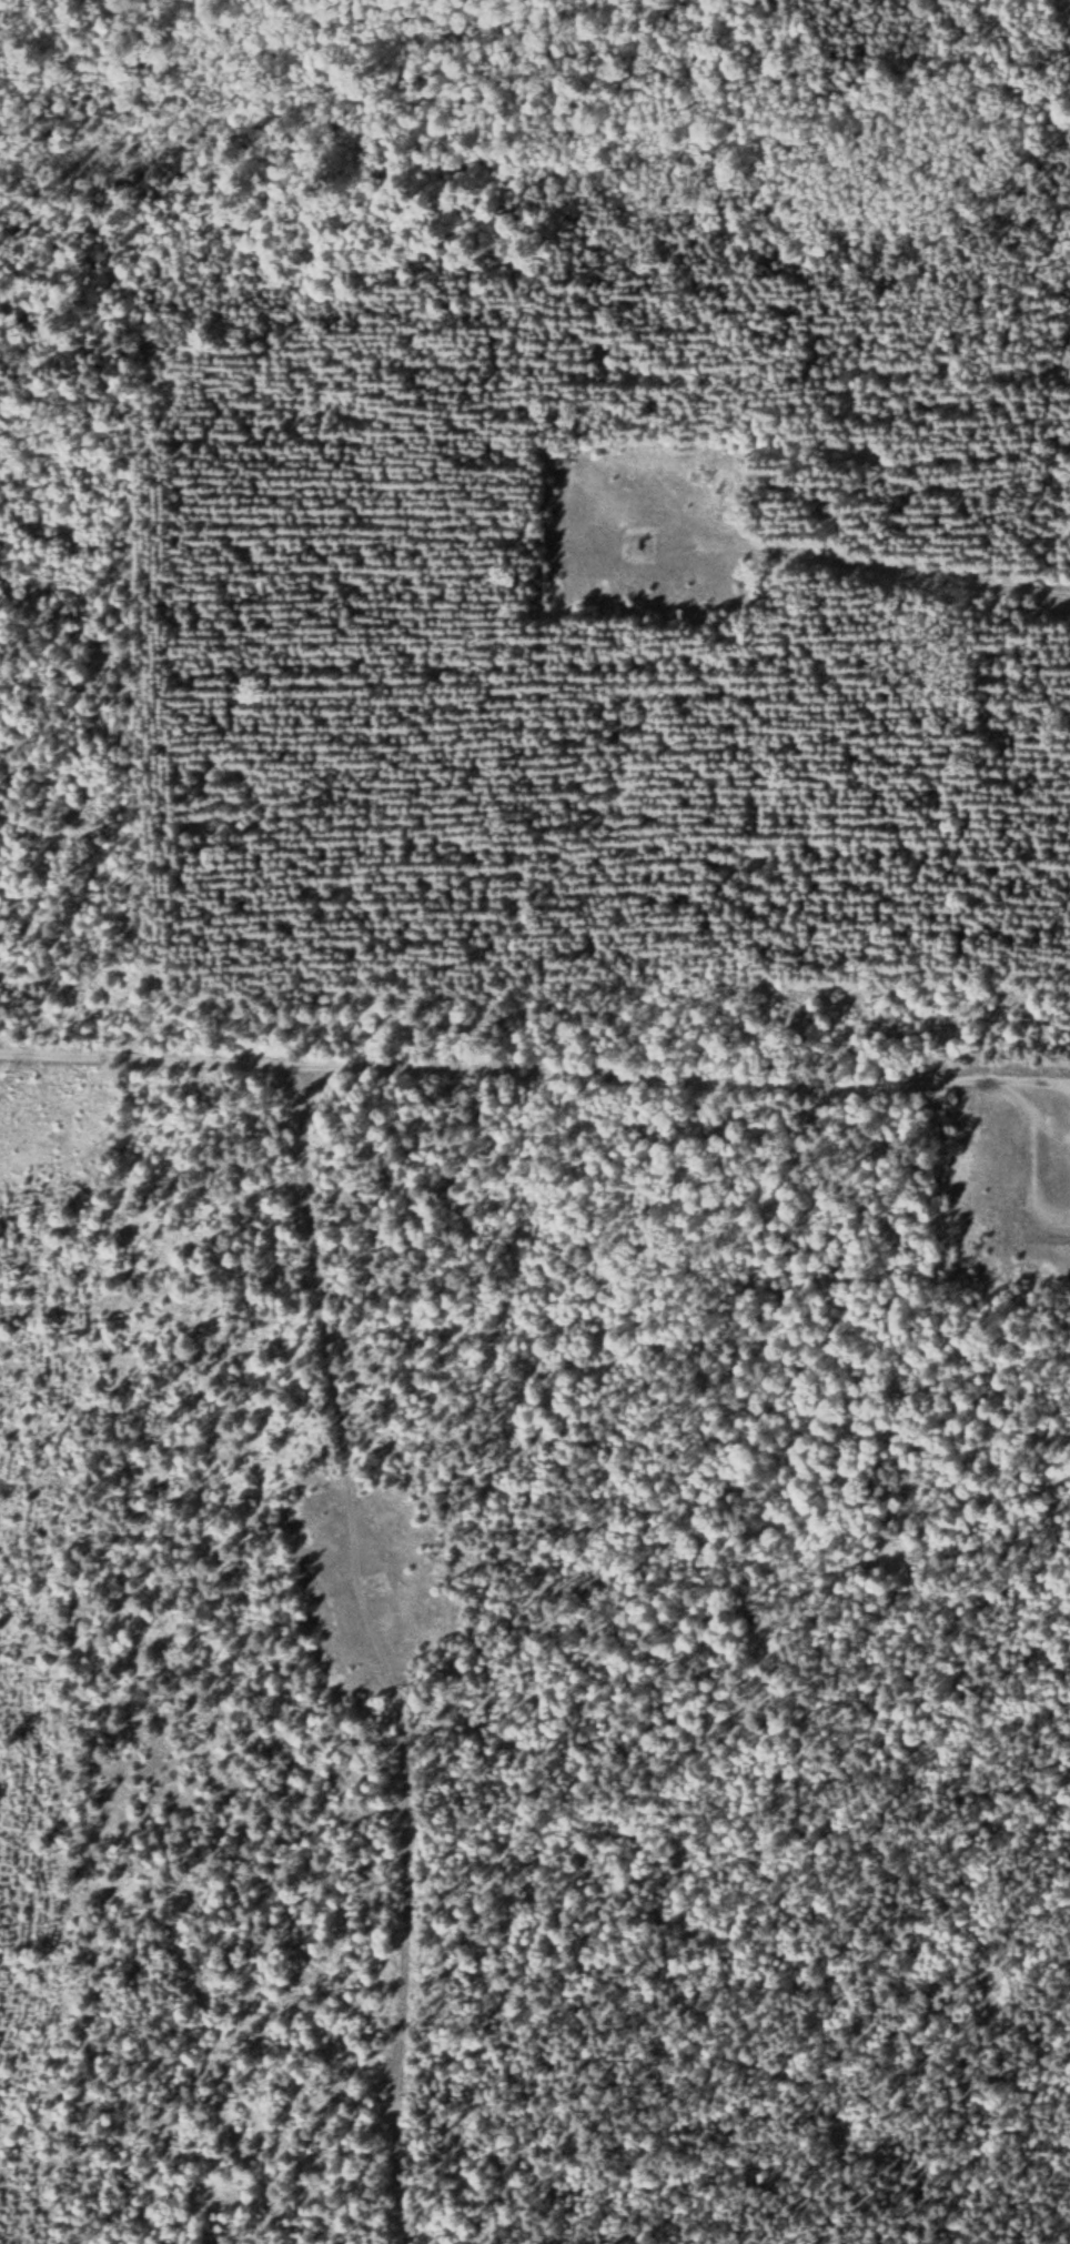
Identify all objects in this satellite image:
road: (1068, 2)
petroleum well: (633, 544)
road: (871, 563)
road: (535, 1070)

